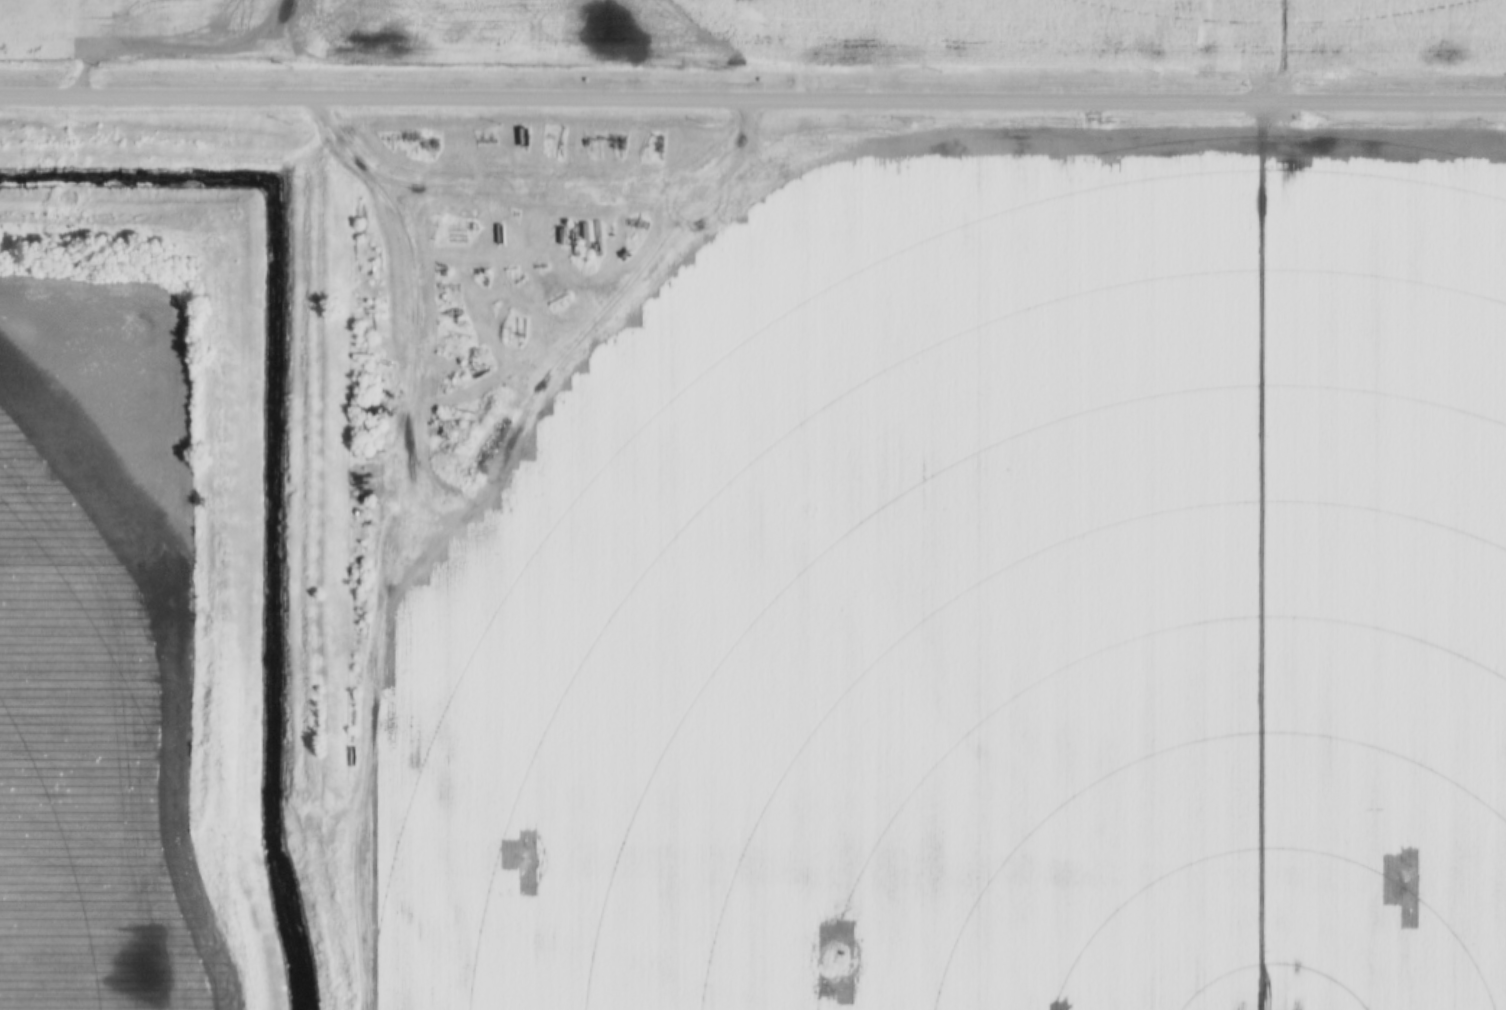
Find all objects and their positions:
road: (753, 100)
building: (532, 139)
building: (945, 401)
building: (1046, 433)
building: (940, 536)

